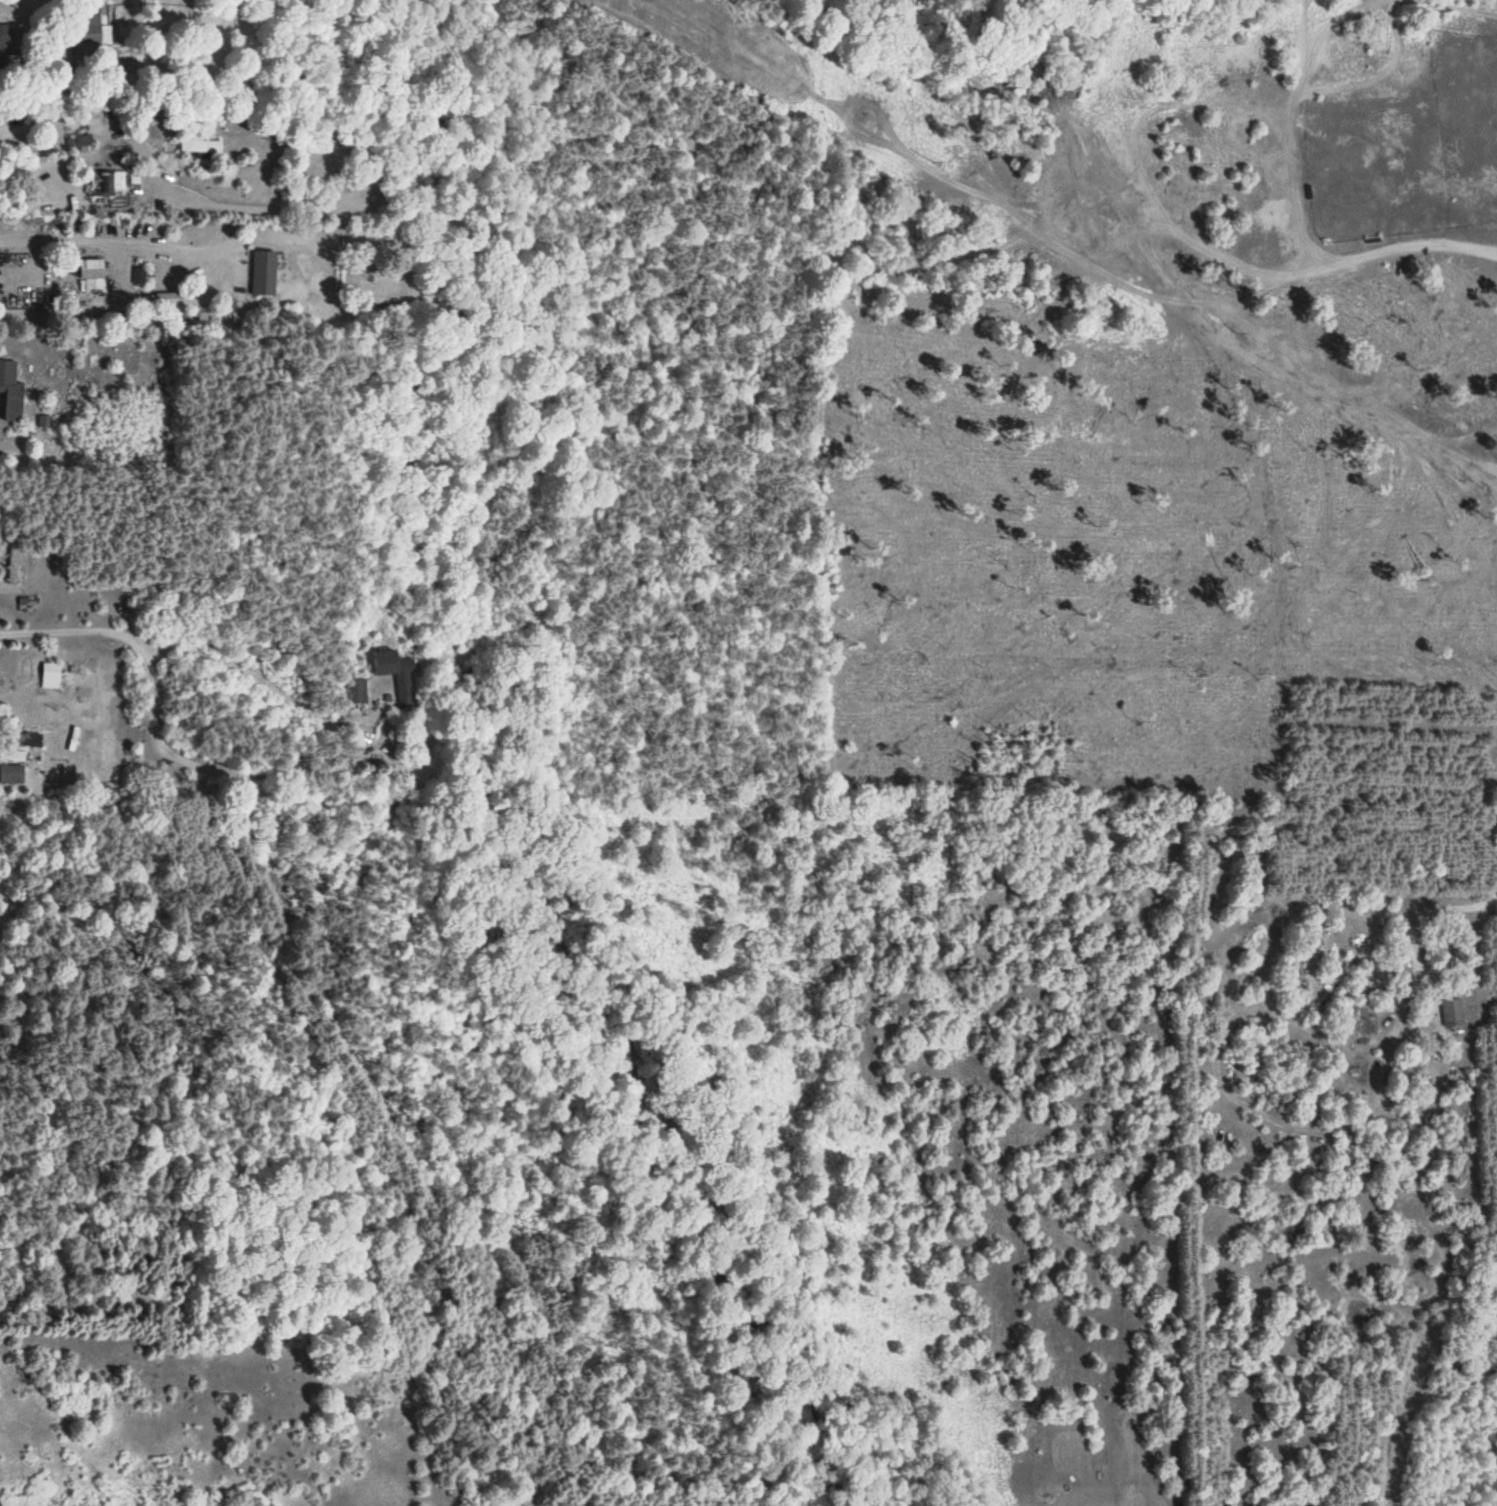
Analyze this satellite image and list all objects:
building: (96, 35)
building: (4, 36)
road: (1299, 42)
road: (750, 55)
road: (1306, 59)
building: (1, 63)
road: (845, 105)
park: (1467, 107)
road: (72, 125)
building: (82, 141)
building: (200, 146)
park: (1375, 164)
building: (111, 182)
road: (1190, 238)
road: (118, 244)
road: (992, 244)
building: (263, 273)
building: (90, 276)
road: (1248, 333)
building: (10, 392)
park: (1155, 412)
building: (12, 562)
building: (28, 603)
road: (67, 632)
building: (397, 676)
building: (50, 677)
building: (355, 691)
building: (15, 757)
road: (291, 760)
building: (1451, 1014)

